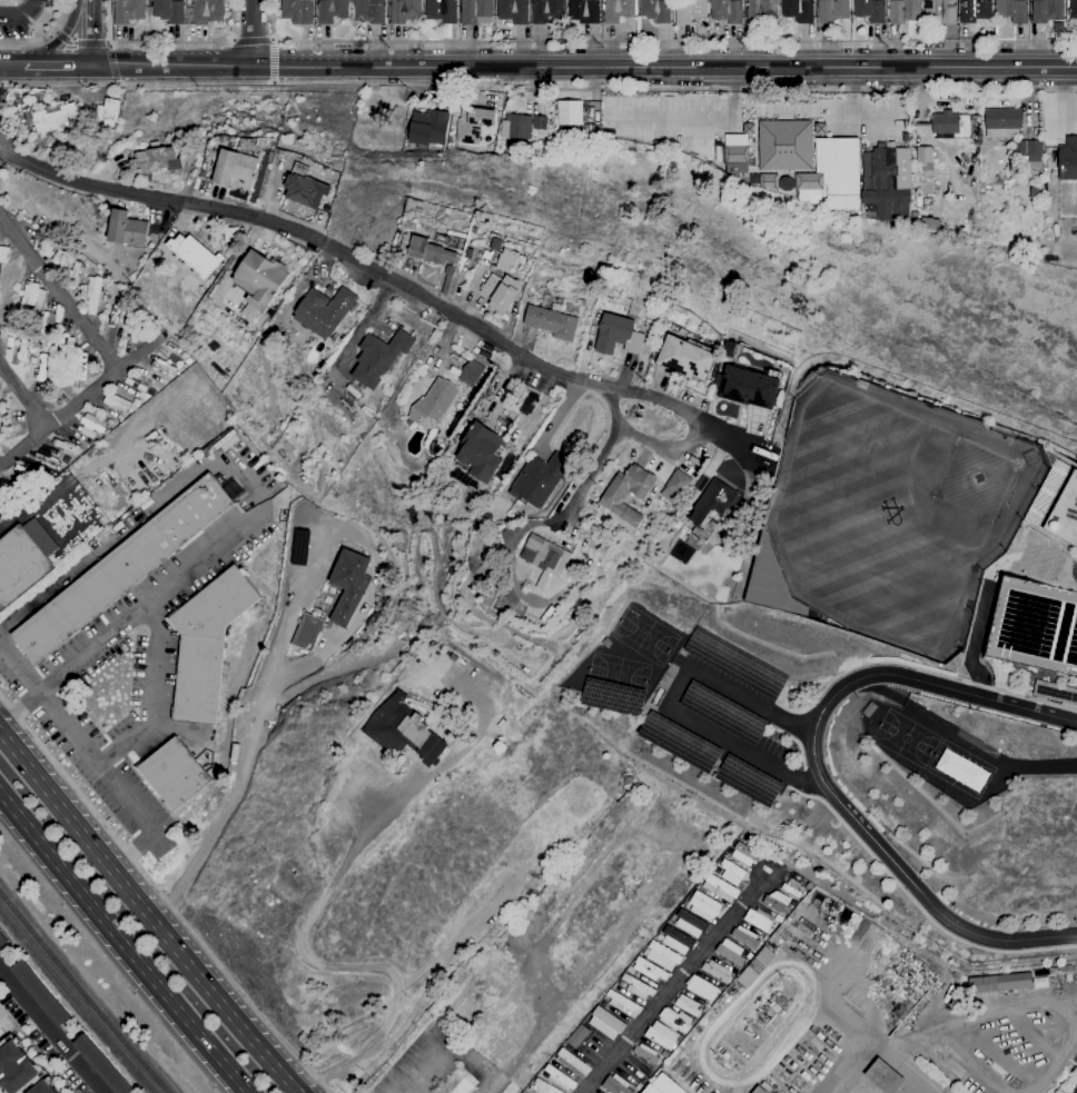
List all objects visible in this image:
building: (546, 10)
building: (760, 10)
building: (799, 10)
building: (870, 10)
building: (975, 10)
building: (1012, 10)
building: (129, 11)
building: (169, 11)
building: (207, 11)
building: (297, 11)
building: (332, 11)
building: (369, 11)
building: (404, 11)
building: (442, 11)
building: (476, 11)
building: (513, 11)
building: (583, 11)
building: (617, 11)
building: (655, 11)
building: (690, 11)
building: (727, 11)
building: (832, 11)
building: (905, 11)
building: (940, 11)
building: (1047, 11)
building: (1073, 11)
road: (22, 16)
road: (55, 32)
road: (91, 33)
road: (253, 33)
road: (45, 38)
road: (61, 38)
road: (274, 40)
road: (655, 40)
road: (167, 42)
road: (77, 44)
road: (105, 44)
road: (107, 46)
road: (110, 63)
road: (11, 66)
road: (58, 67)
road: (584, 67)
road: (115, 82)
road: (538, 86)
flagpole: (812, 93)
flagpole: (814, 93)
flagpole: (818, 93)
building: (109, 112)
building: (569, 113)
building: (55, 118)
parking lot: (664, 120)
road: (702, 120)
building: (472, 123)
building: (945, 123)
building: (1002, 123)
building: (22, 127)
building: (515, 127)
building: (427, 129)
building: (29, 145)
building: (783, 145)
building: (154, 146)
building: (734, 149)
building: (1029, 150)
building: (280, 153)
building: (923, 155)
building: (151, 160)
building: (1068, 160)
building: (234, 168)
building: (885, 168)
building: (734, 170)
building: (324, 171)
building: (202, 175)
building: (807, 181)
building: (773, 182)
building: (305, 188)
building: (1034, 193)
building: (888, 203)
building: (126, 229)
building: (455, 244)
building: (496, 245)
building: (37, 247)
building: (4, 255)
building: (195, 256)
building: (432, 259)
building: (507, 260)
building: (259, 278)
road: (392, 278)
building: (500, 292)
road: (59, 295)
building: (91, 295)
building: (31, 301)
building: (132, 310)
building: (324, 311)
building: (552, 322)
building: (48, 325)
building: (617, 336)
building: (65, 347)
building: (22, 348)
building: (379, 358)
building: (685, 358)
building: (470, 374)
building: (136, 381)
building: (61, 386)
building: (750, 388)
building: (150, 393)
road: (22, 399)
building: (117, 404)
building: (136, 404)
road: (75, 405)
building: (433, 405)
building: (119, 419)
building: (92, 424)
road: (668, 450)
building: (480, 454)
road: (602, 455)
building: (541, 480)
building: (675, 486)
building: (626, 494)
building: (710, 508)
park: (895, 510)
building: (1065, 514)
road: (135, 523)
building: (676, 525)
building: (666, 533)
building: (544, 558)
building: (23, 560)
building: (126, 567)
building: (770, 583)
building: (348, 585)
road: (130, 620)
road: (292, 625)
building: (305, 633)
park: (643, 636)
building: (206, 645)
building: (735, 663)
road: (926, 673)
park: (617, 675)
building: (423, 676)
building: (1055, 693)
building: (614, 696)
road: (154, 698)
road: (752, 700)
building: (869, 711)
building: (722, 712)
parking lot: (727, 717)
building: (403, 731)
road: (724, 737)
park: (906, 738)
road: (961, 739)
building: (709, 757)
road: (95, 762)
park: (960, 767)
road: (816, 768)
building: (172, 774)
building: (741, 855)
building: (732, 870)
building: (720, 888)
building: (790, 888)
road: (161, 897)
building: (777, 902)
building: (703, 906)
road: (918, 907)
road: (146, 915)
building: (758, 921)
building: (690, 924)
building: (744, 937)
building: (2, 941)
building: (675, 941)
road: (123, 942)
building: (731, 953)
building: (661, 956)
road: (326, 966)
building: (755, 967)
building: (646, 971)
building: (717, 972)
building: (999, 983)
road: (674, 984)
building: (636, 987)
building: (702, 988)
building: (40, 993)
railway: (82, 994)
railway: (76, 1002)
building: (623, 1004)
building: (688, 1005)
building: (675, 1021)
building: (604, 1023)
road: (50, 1030)
building: (662, 1036)
building: (577, 1037)
building: (645, 1054)
building: (572, 1061)
road: (847, 1064)
road: (903, 1064)
building: (101, 1065)
building: (20, 1071)
road: (415, 1075)
building: (885, 1076)
building: (559, 1077)
road: (910, 1084)
building: (615, 1085)
building: (663, 1086)
building: (543, 1087)
building: (639, 1087)
building: (760, 1089)

